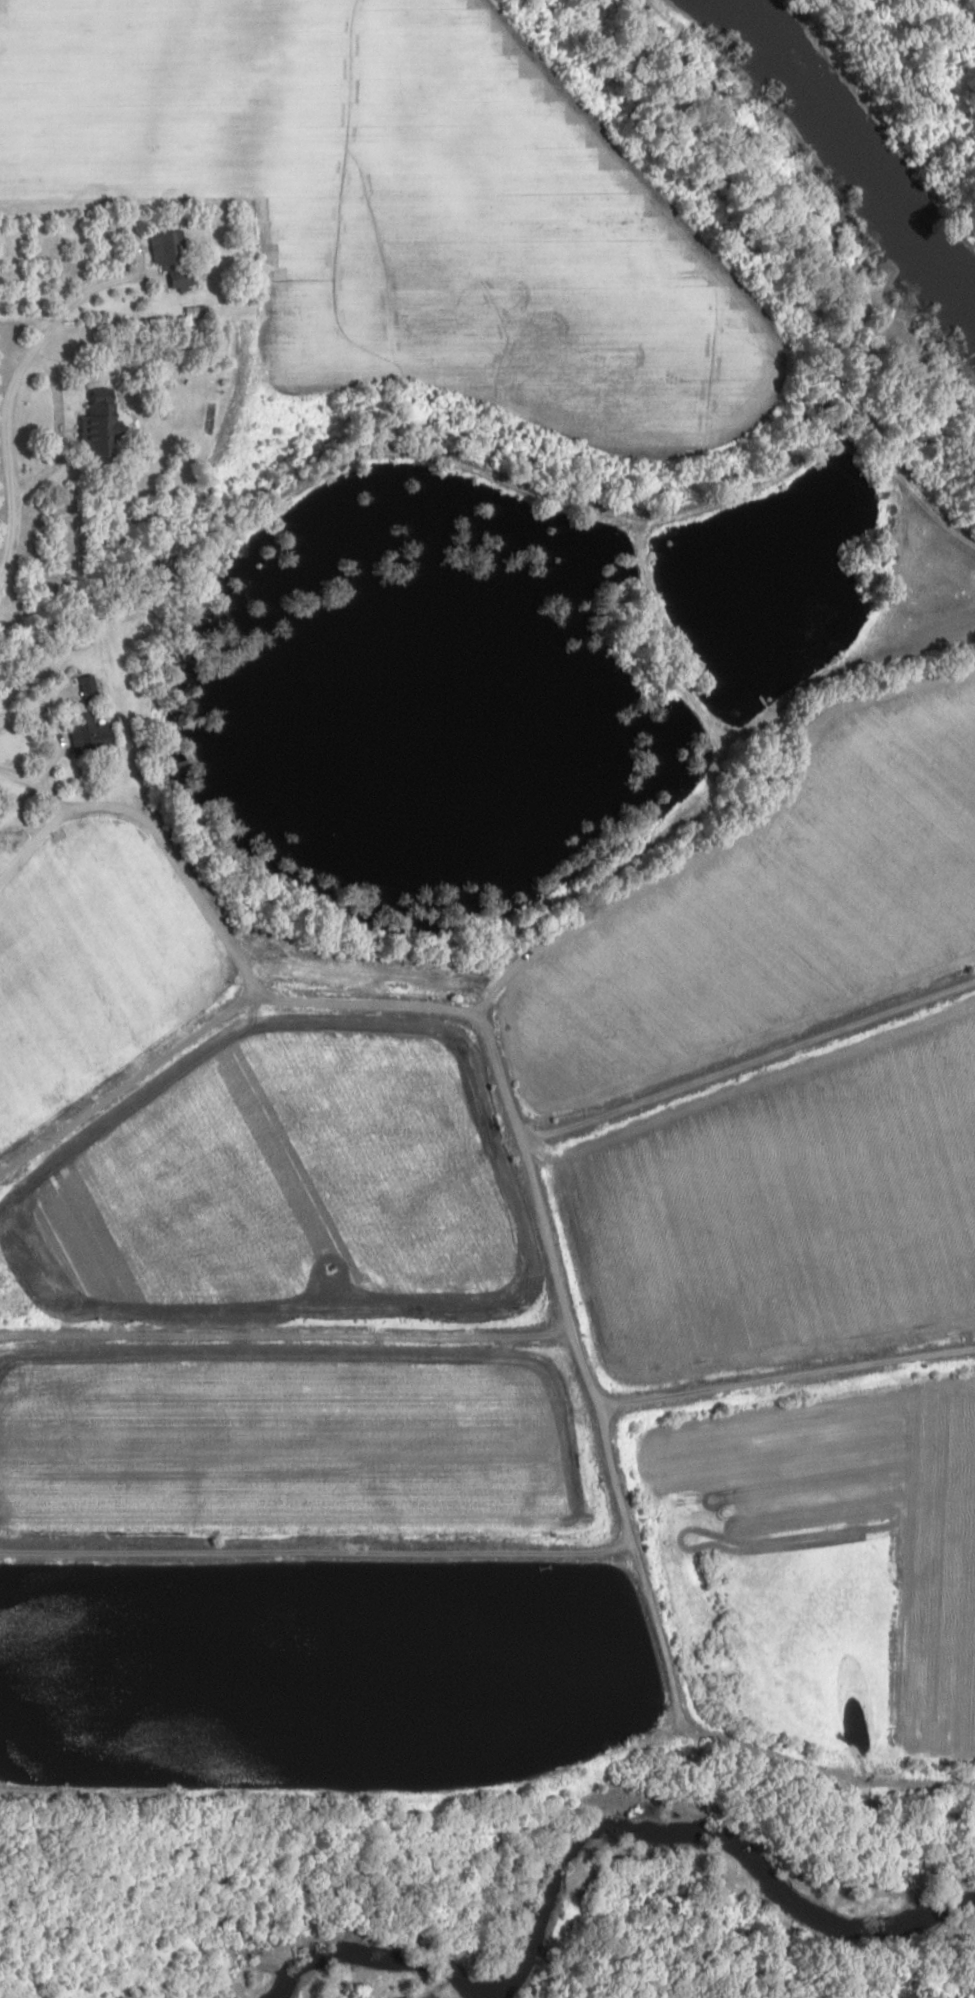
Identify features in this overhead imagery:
river: (846, 159)
building: (165, 248)
building: (183, 277)
road: (15, 390)
building: (102, 427)
building: (89, 690)
building: (90, 733)
road: (167, 835)
road: (36, 847)
road: (504, 967)
road: (495, 1784)

